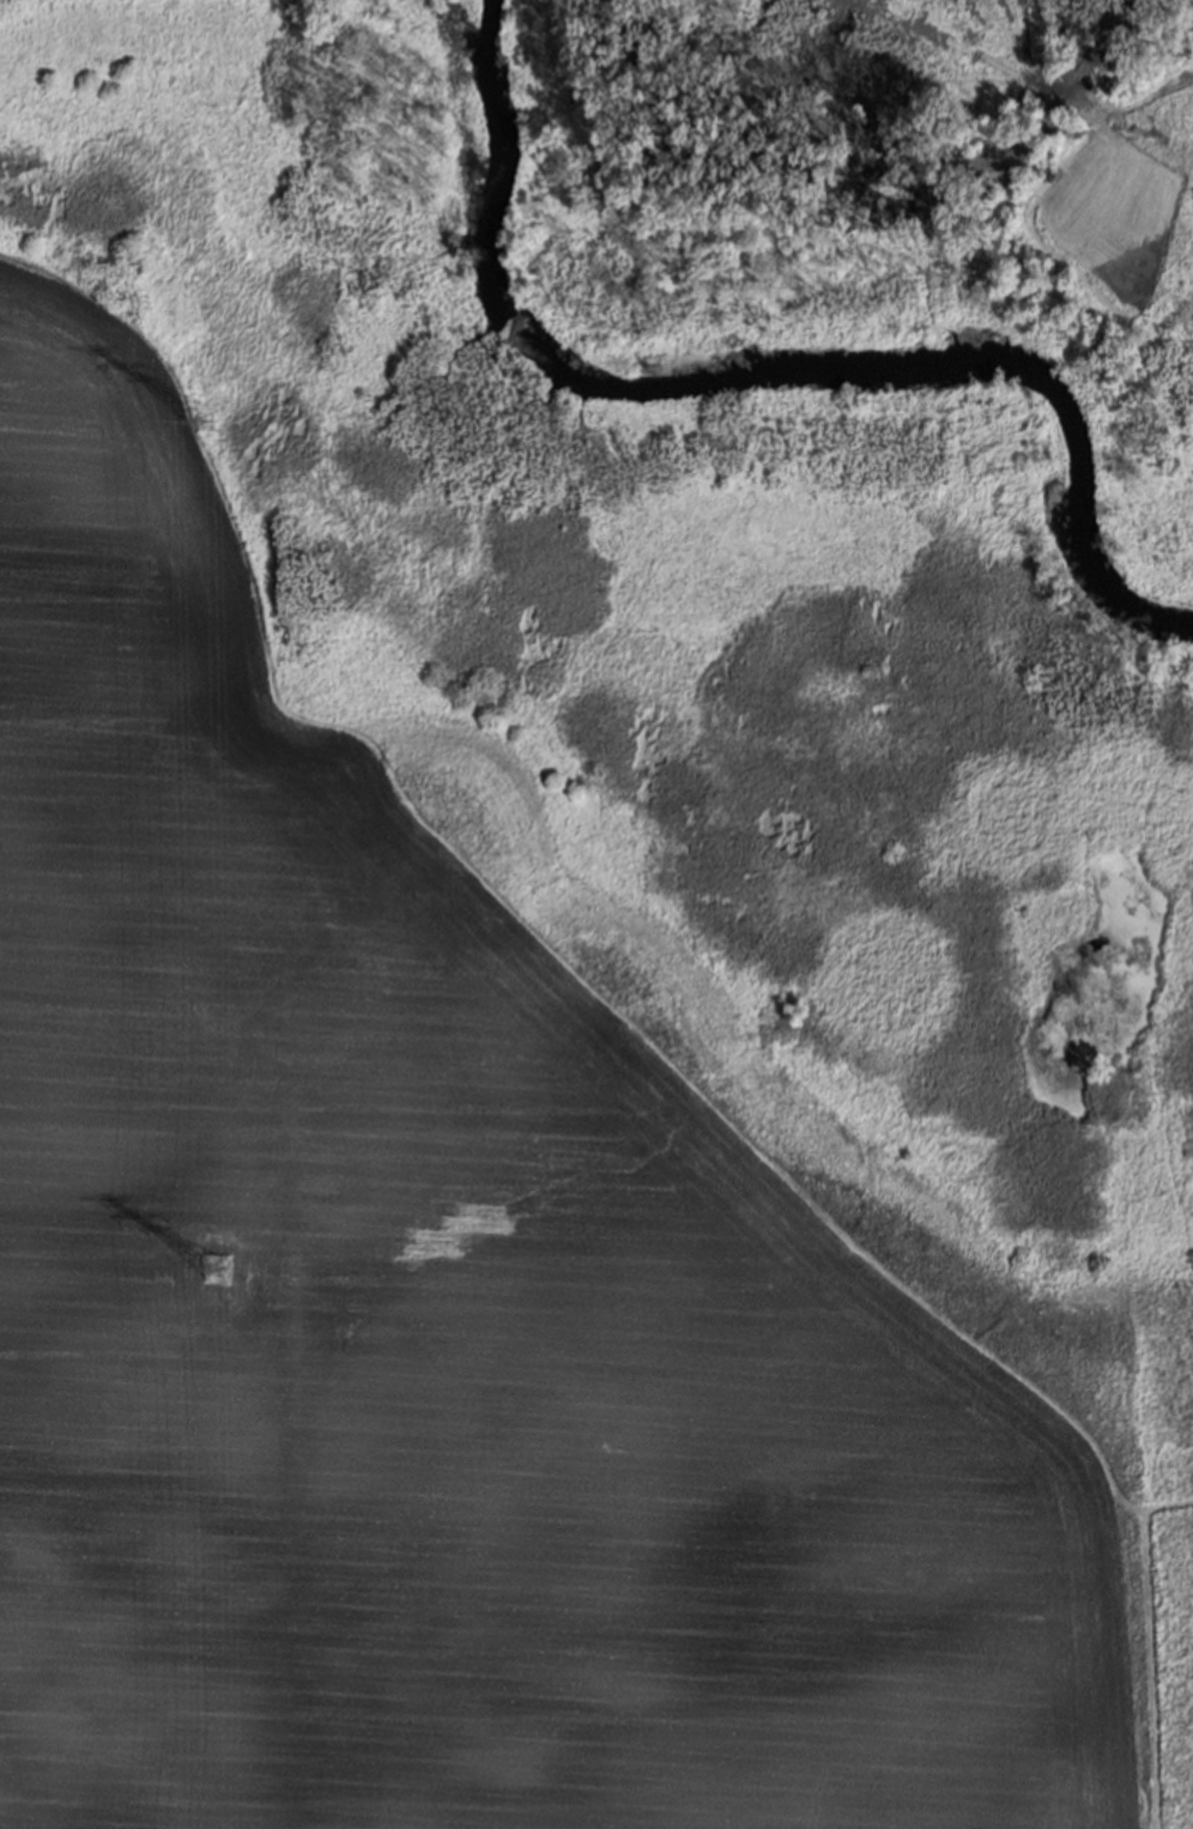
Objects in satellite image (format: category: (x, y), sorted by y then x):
river: (743, 376)
power tower: (205, 417)
power tower: (216, 1279)

